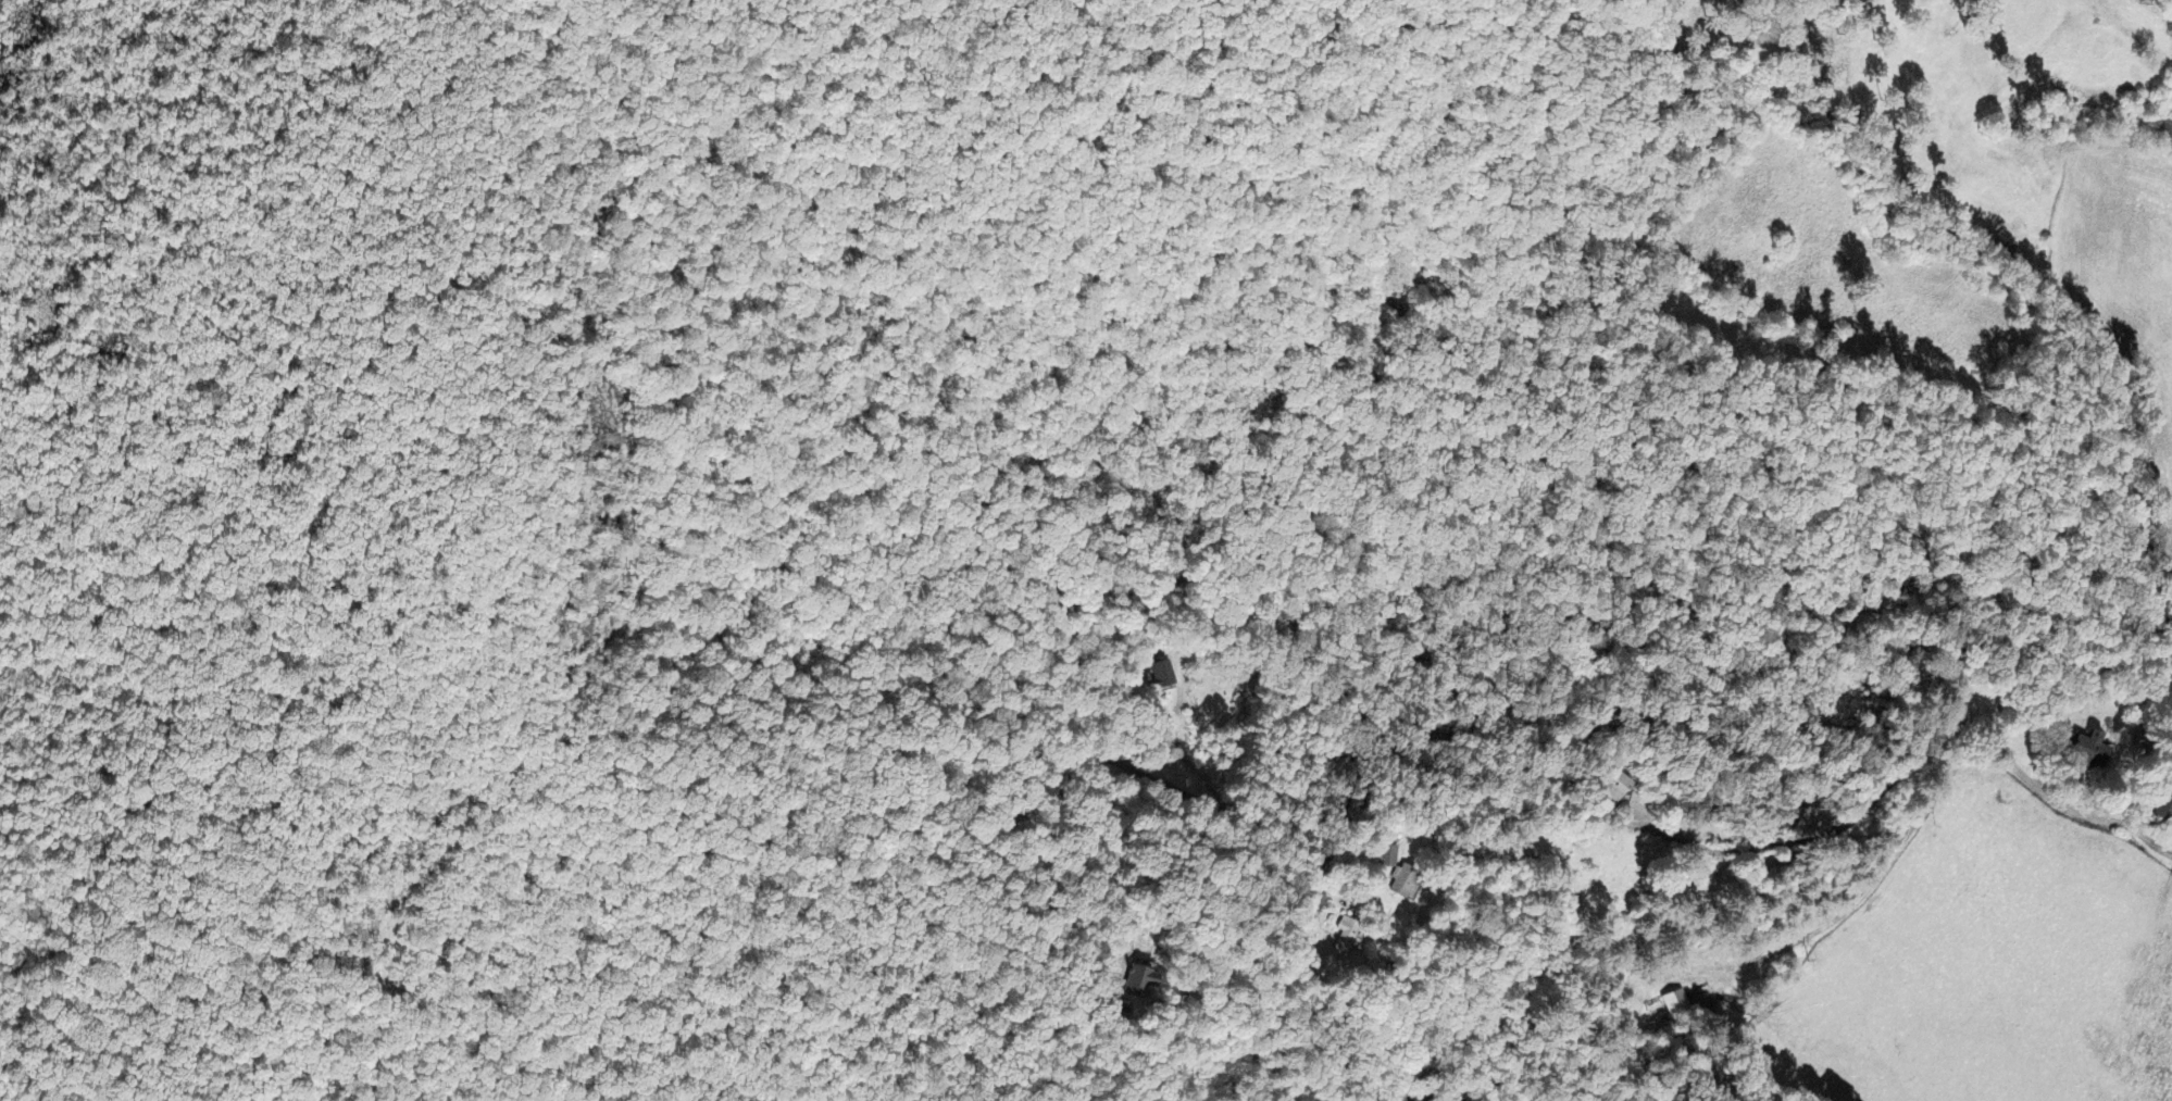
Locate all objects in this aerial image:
building: (1163, 677)
building: (2092, 752)
building: (2164, 811)
road: (1778, 825)
building: (1387, 859)
building: (1407, 884)
building: (1348, 941)
building: (1675, 1005)

